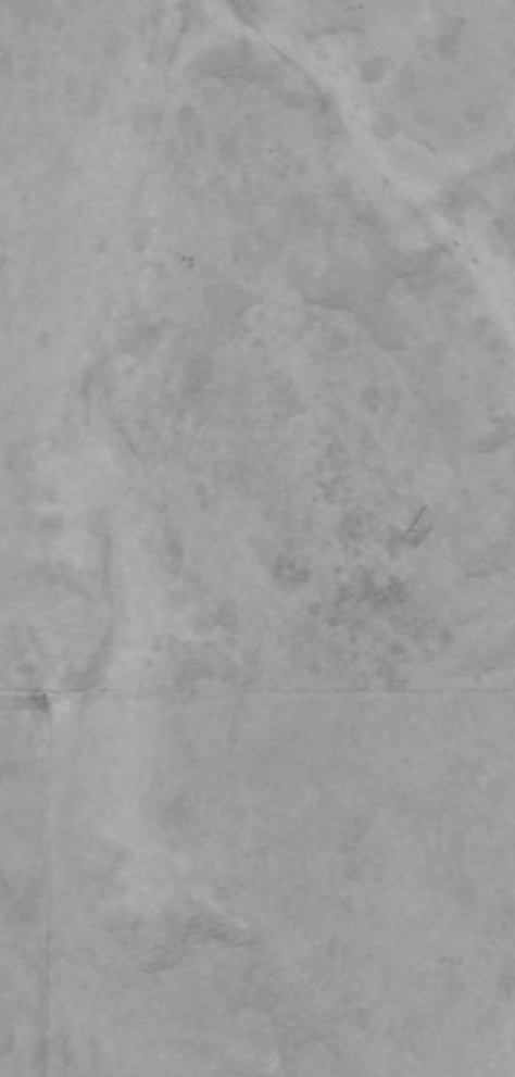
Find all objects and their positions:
power tower: (402, 538)

